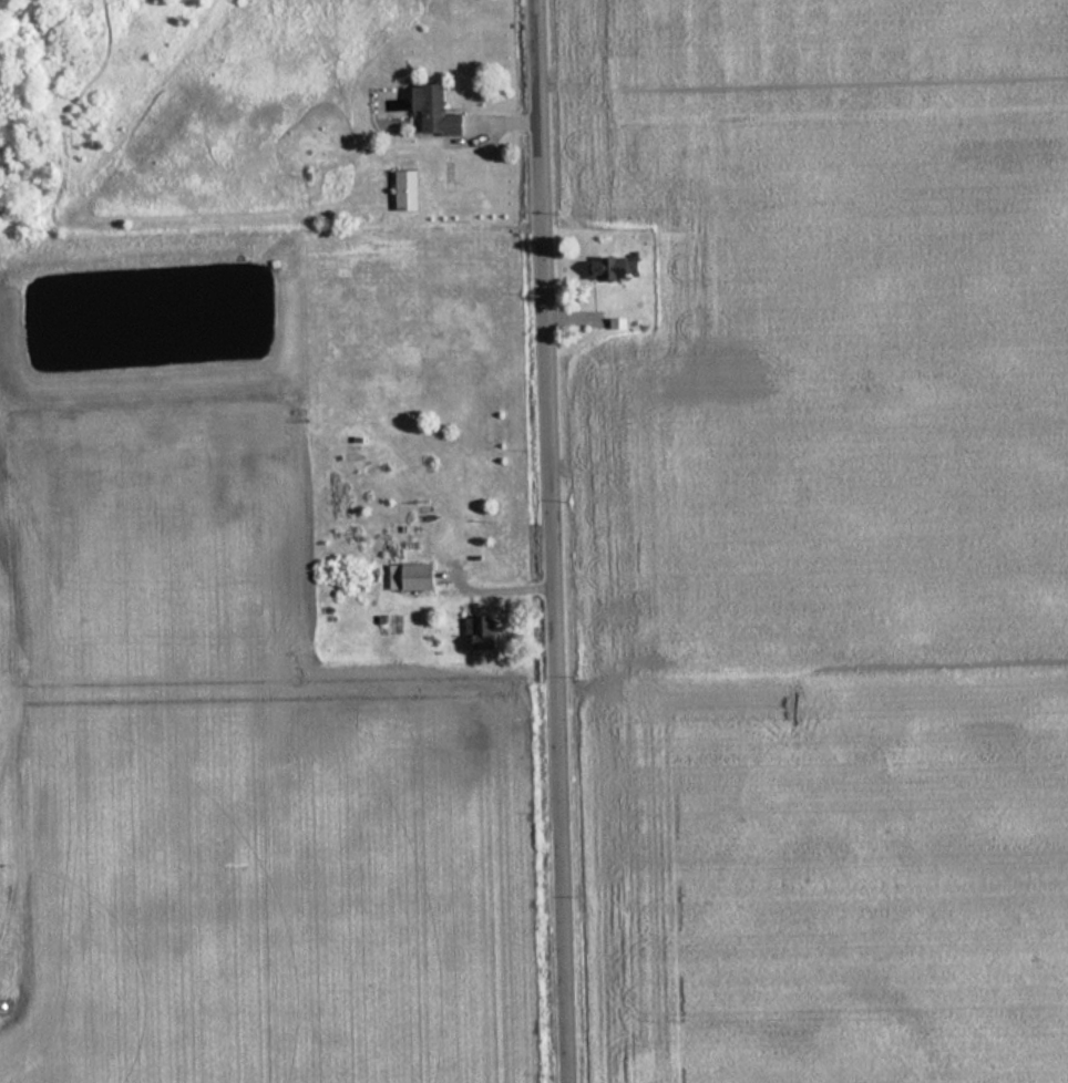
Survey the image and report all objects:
building: (430, 111)
building: (404, 190)
crop: (831, 538)
road: (547, 541)
building: (409, 577)
building: (479, 631)

